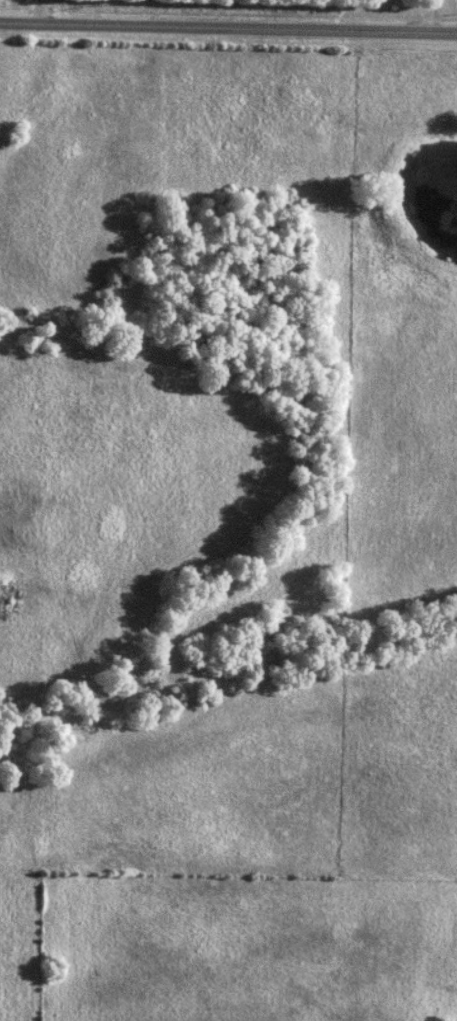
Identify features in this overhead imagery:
road: (52, 11)
road: (228, 27)

